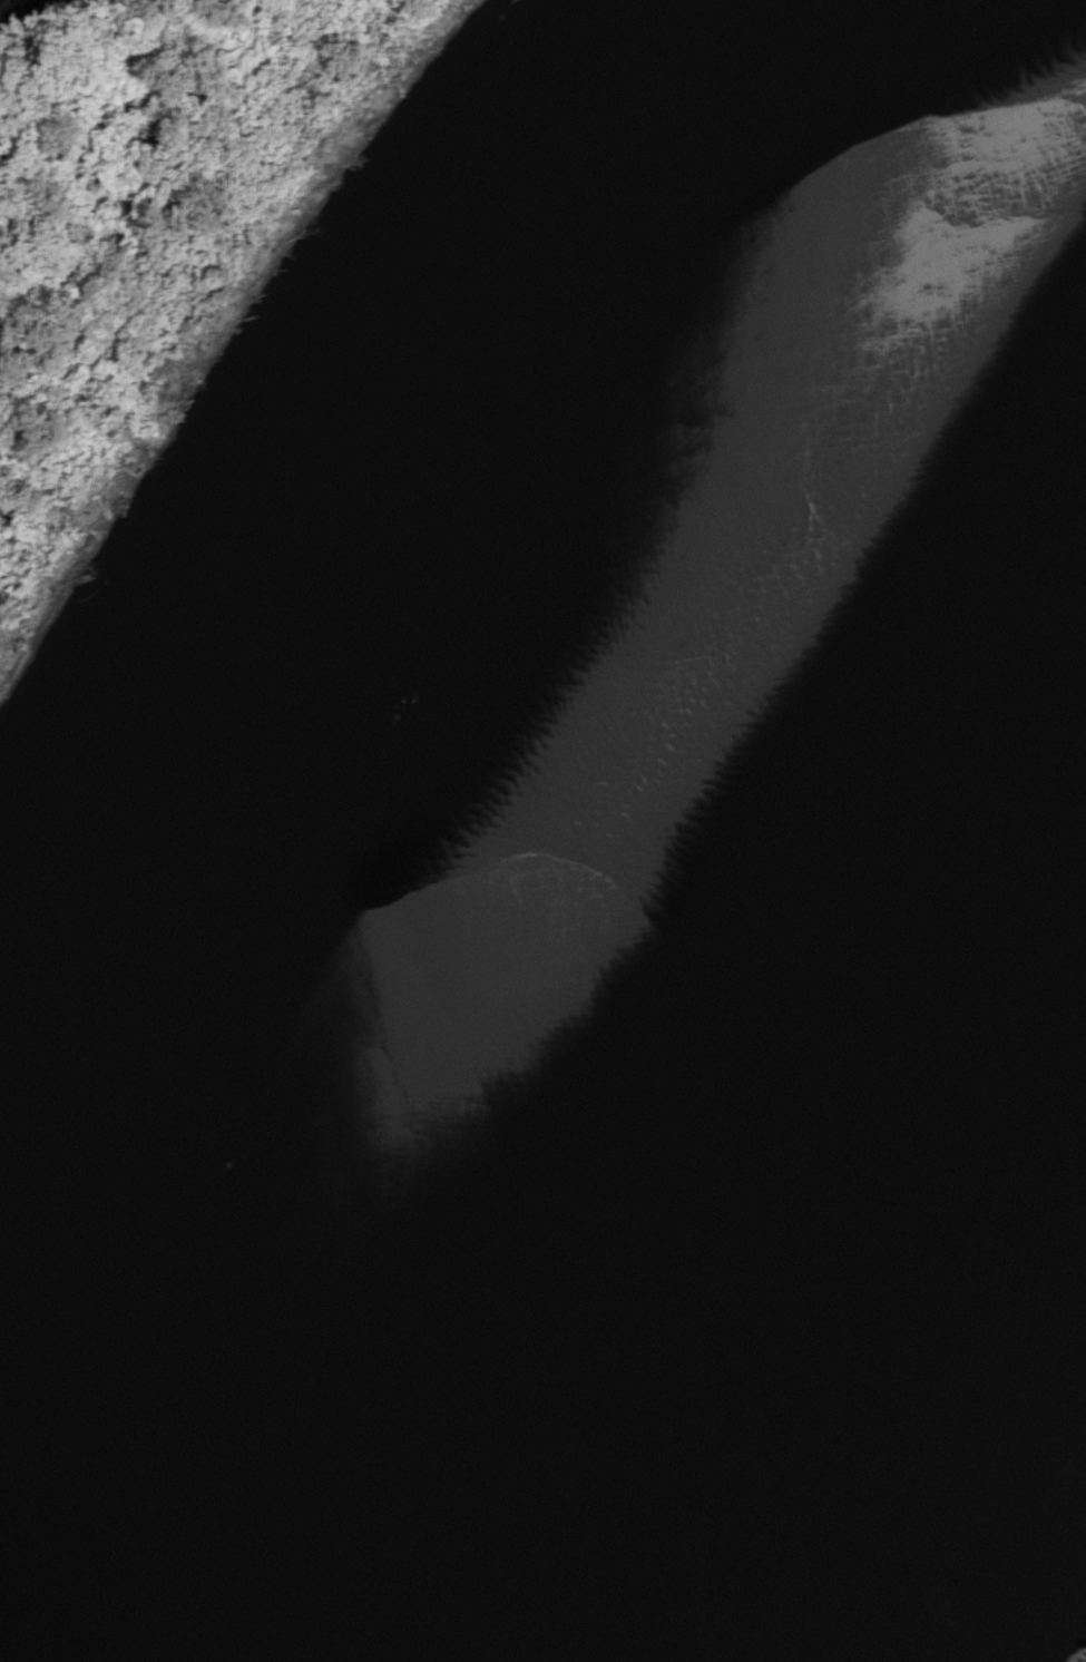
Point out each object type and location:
river: (847, 1367)

